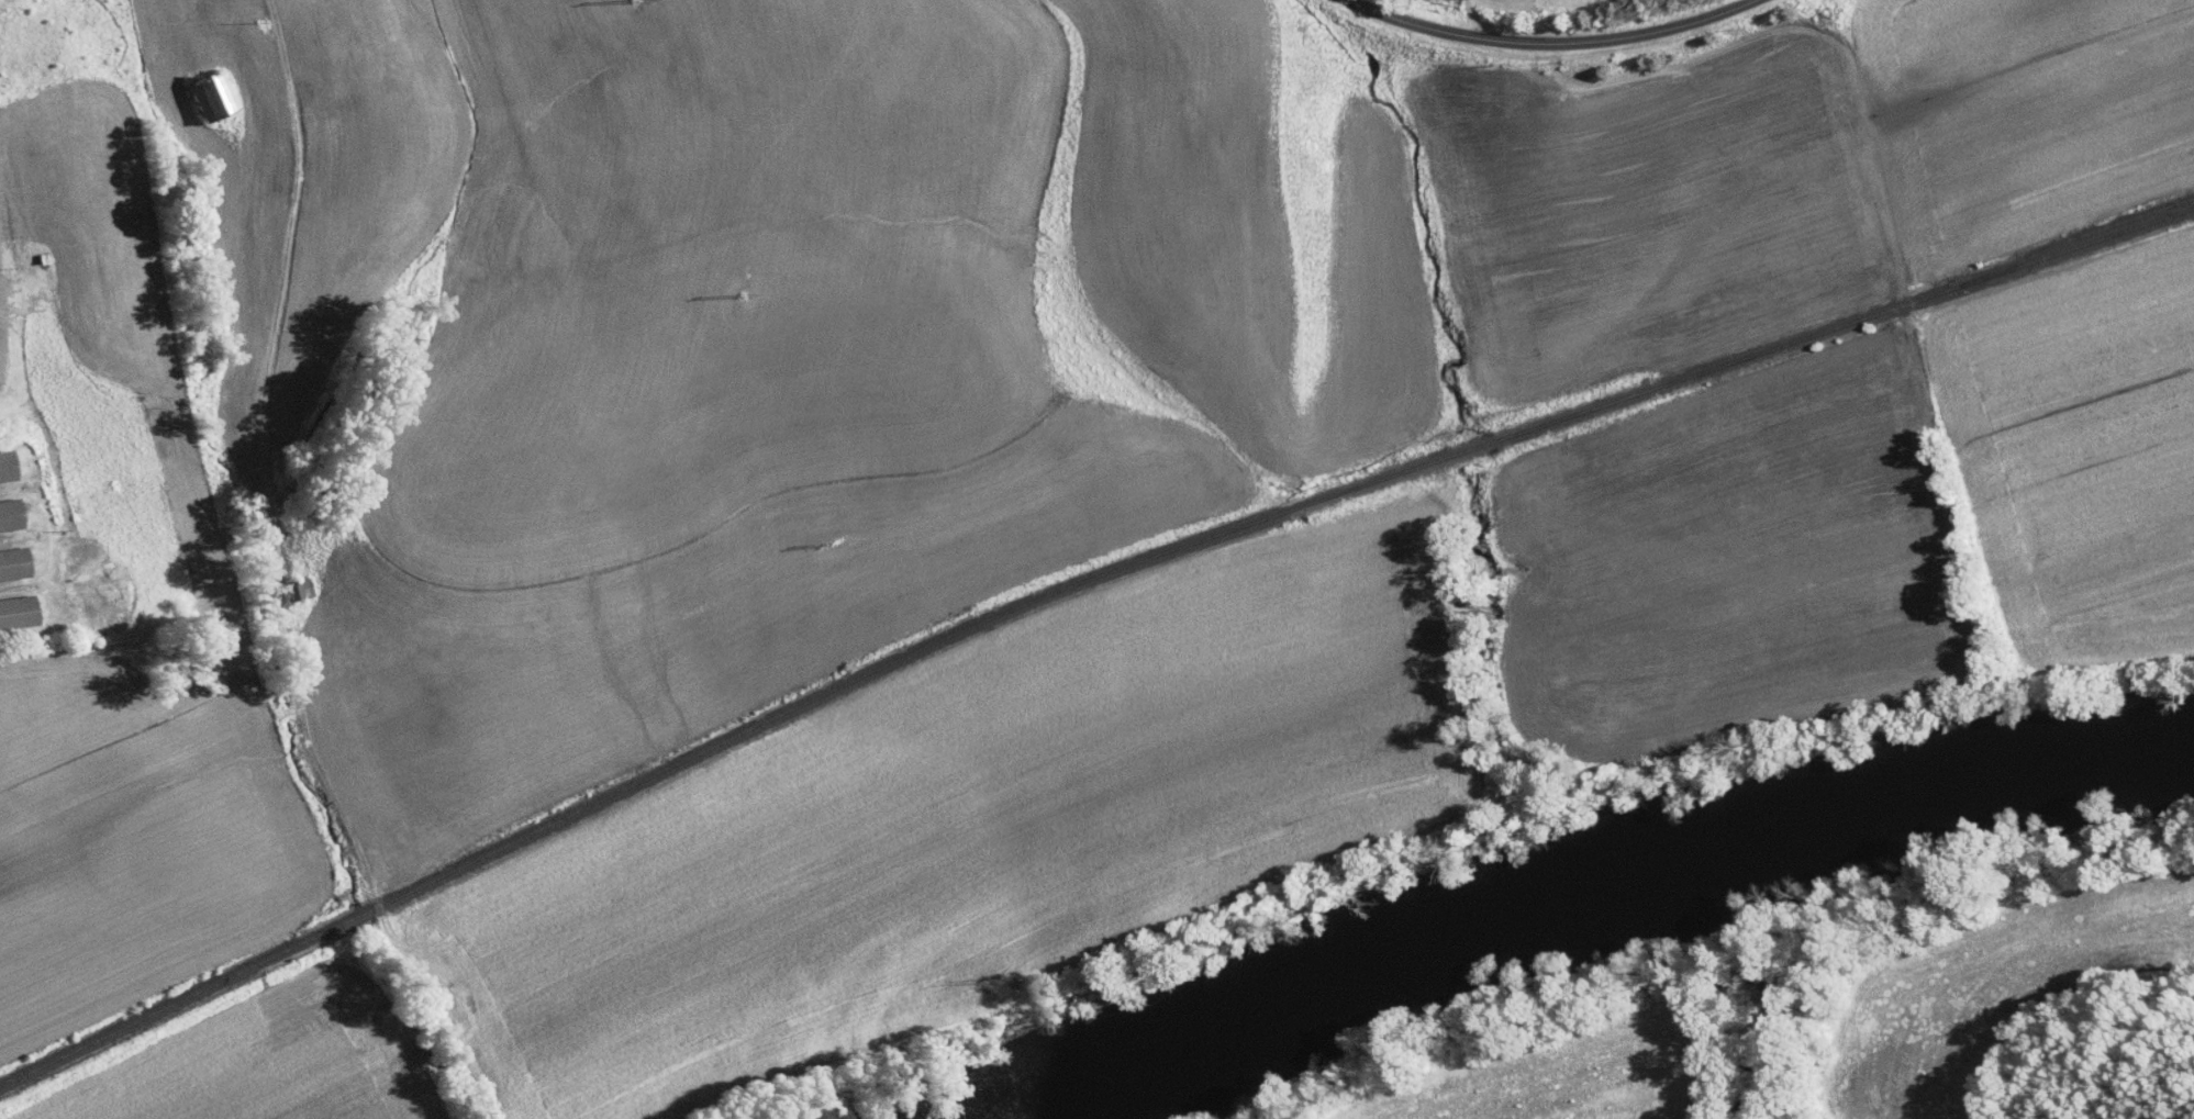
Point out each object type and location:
road: (1549, 44)
building: (202, 91)
railway: (2081, 233)
railway: (1844, 323)
railway: (1459, 451)
building: (1, 463)
building: (4, 511)
building: (8, 558)
building: (287, 582)
building: (12, 608)
railway: (702, 748)
river: (1593, 895)

